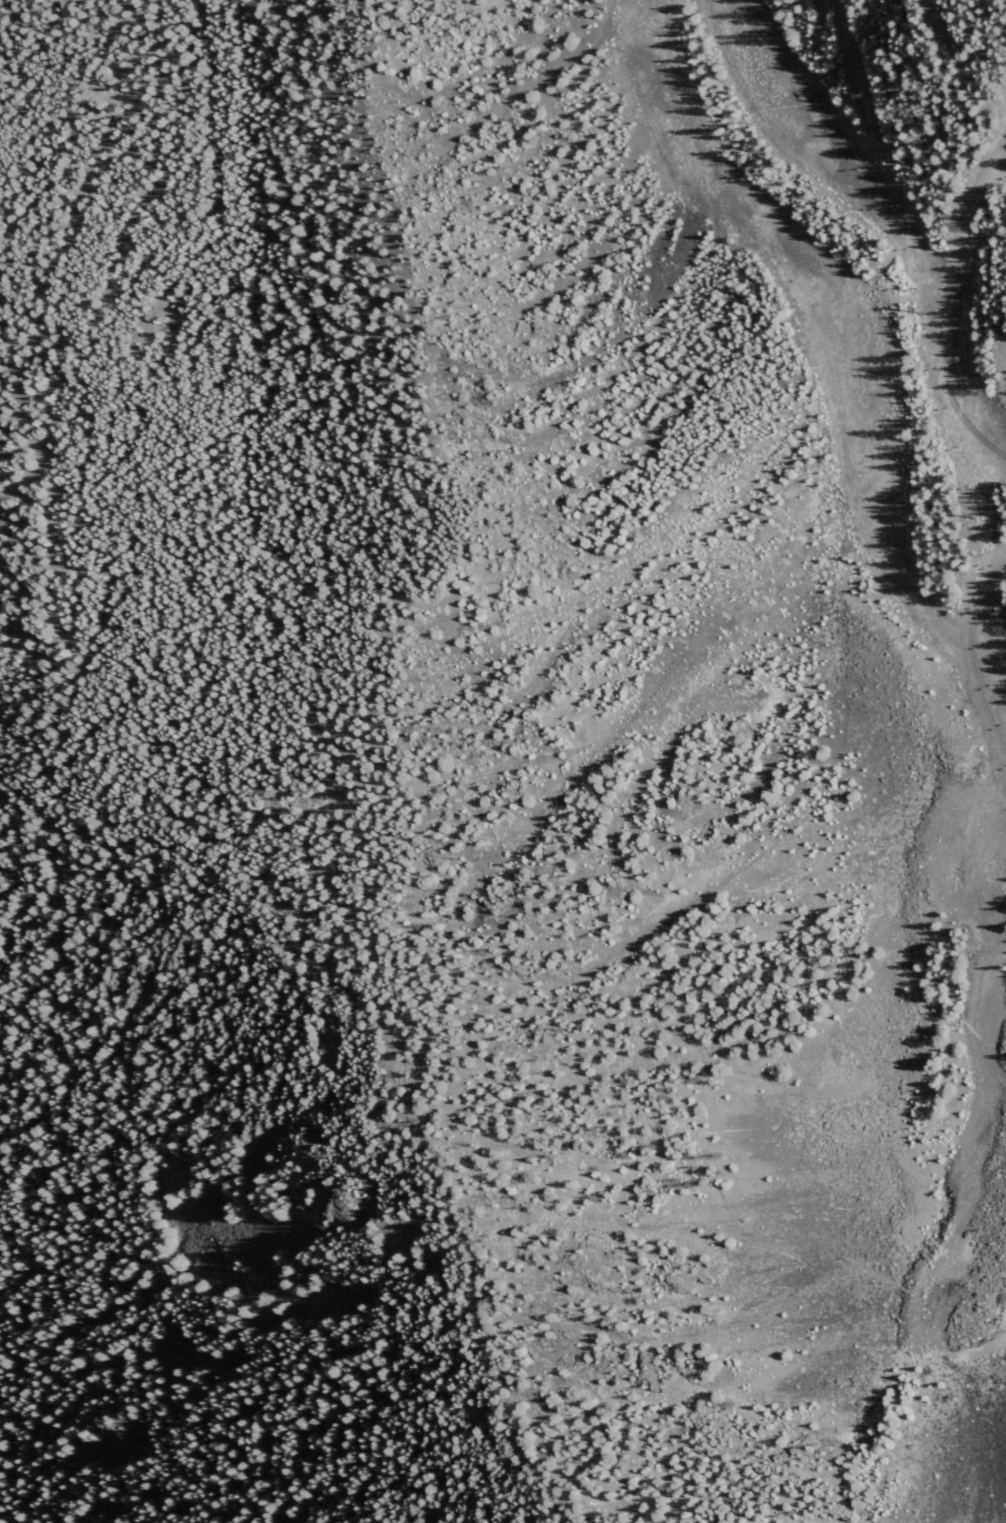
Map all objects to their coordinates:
aerialway pylon: (853, 97)
aerialway pylon: (910, 310)
aerialway pylon: (966, 517)
aerialway pylon: (992, 615)
ski resort: (572, 654)

